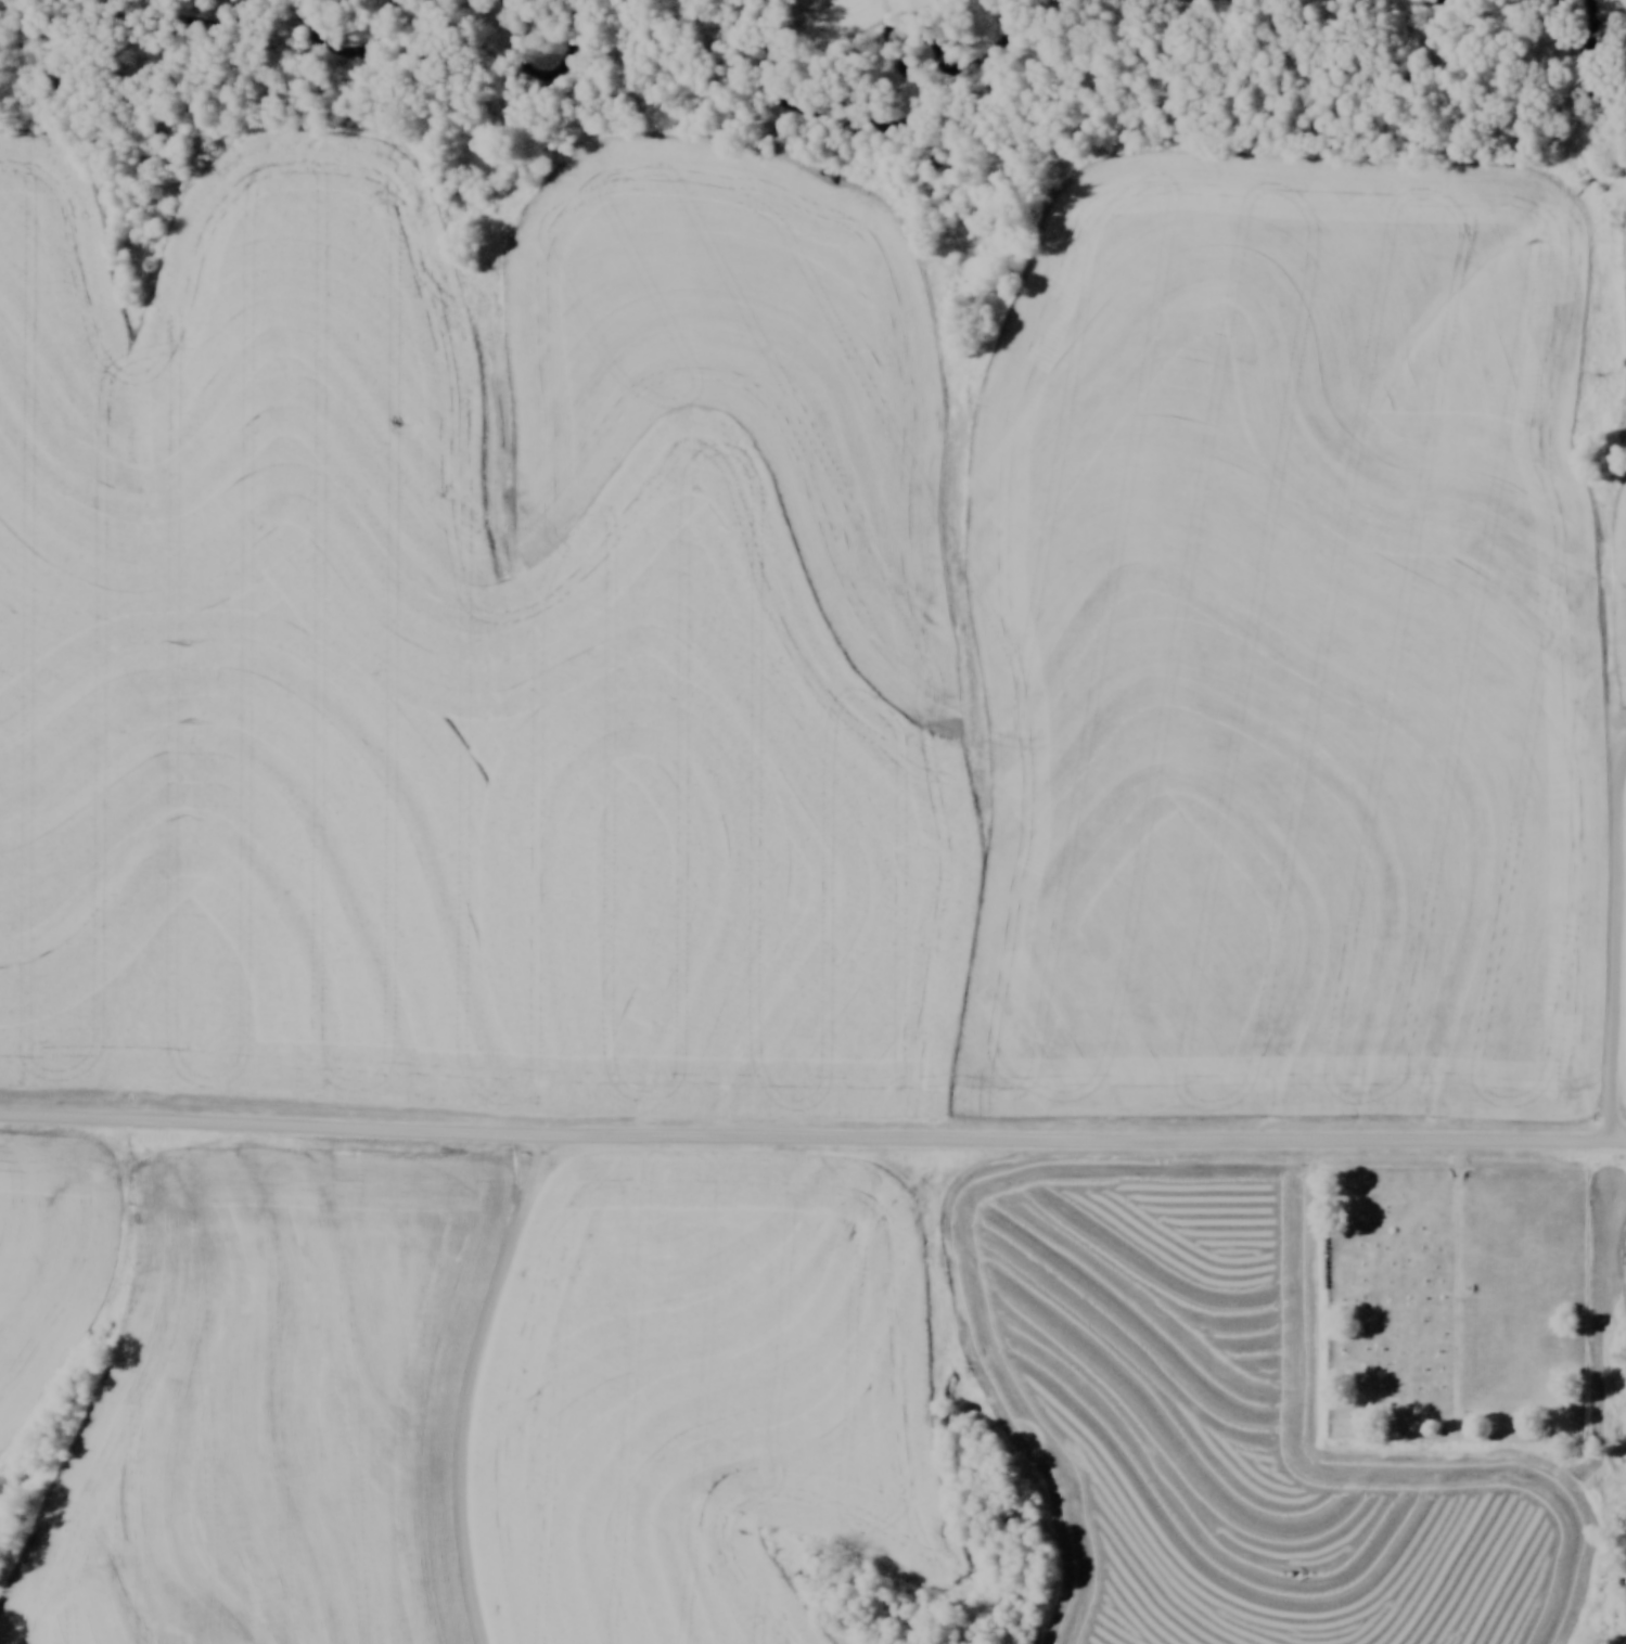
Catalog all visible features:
road: (1615, 942)
crop: (1623, 967)
road: (812, 1141)
road: (473, 1387)

